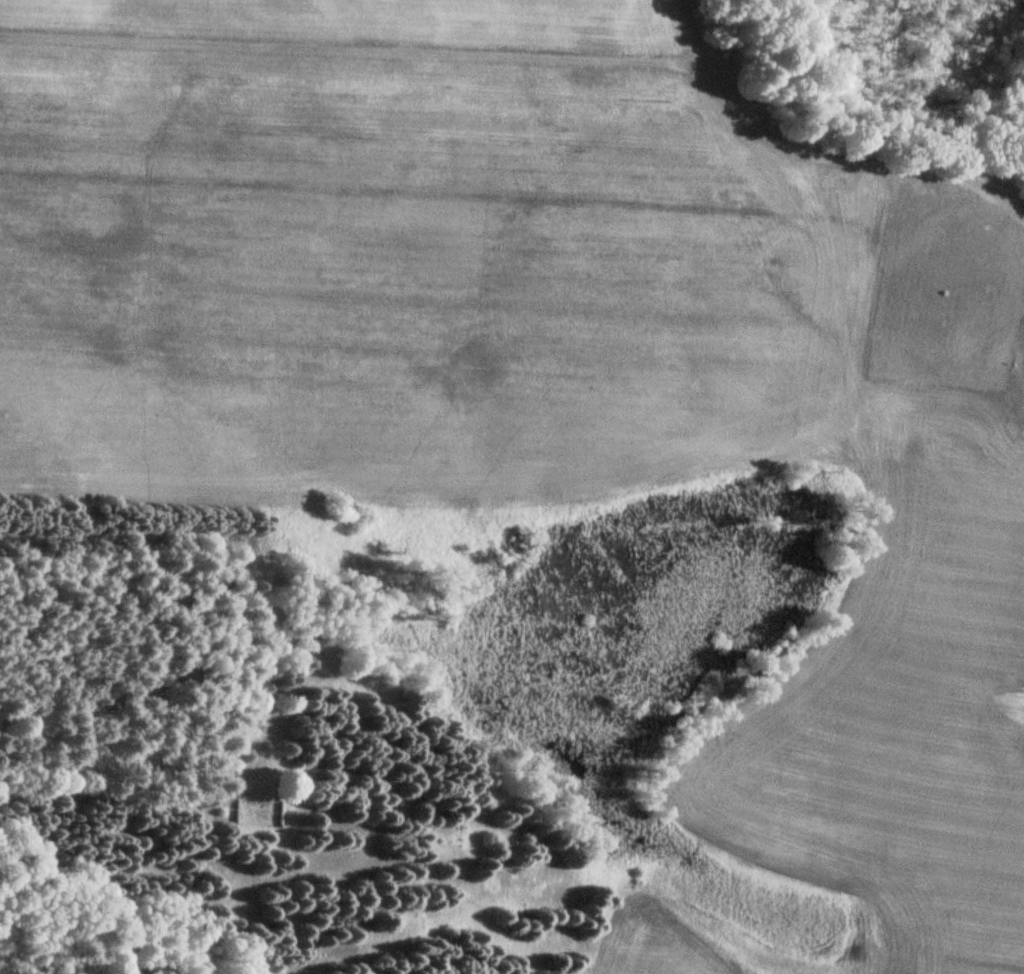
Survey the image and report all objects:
road: (818, 147)

